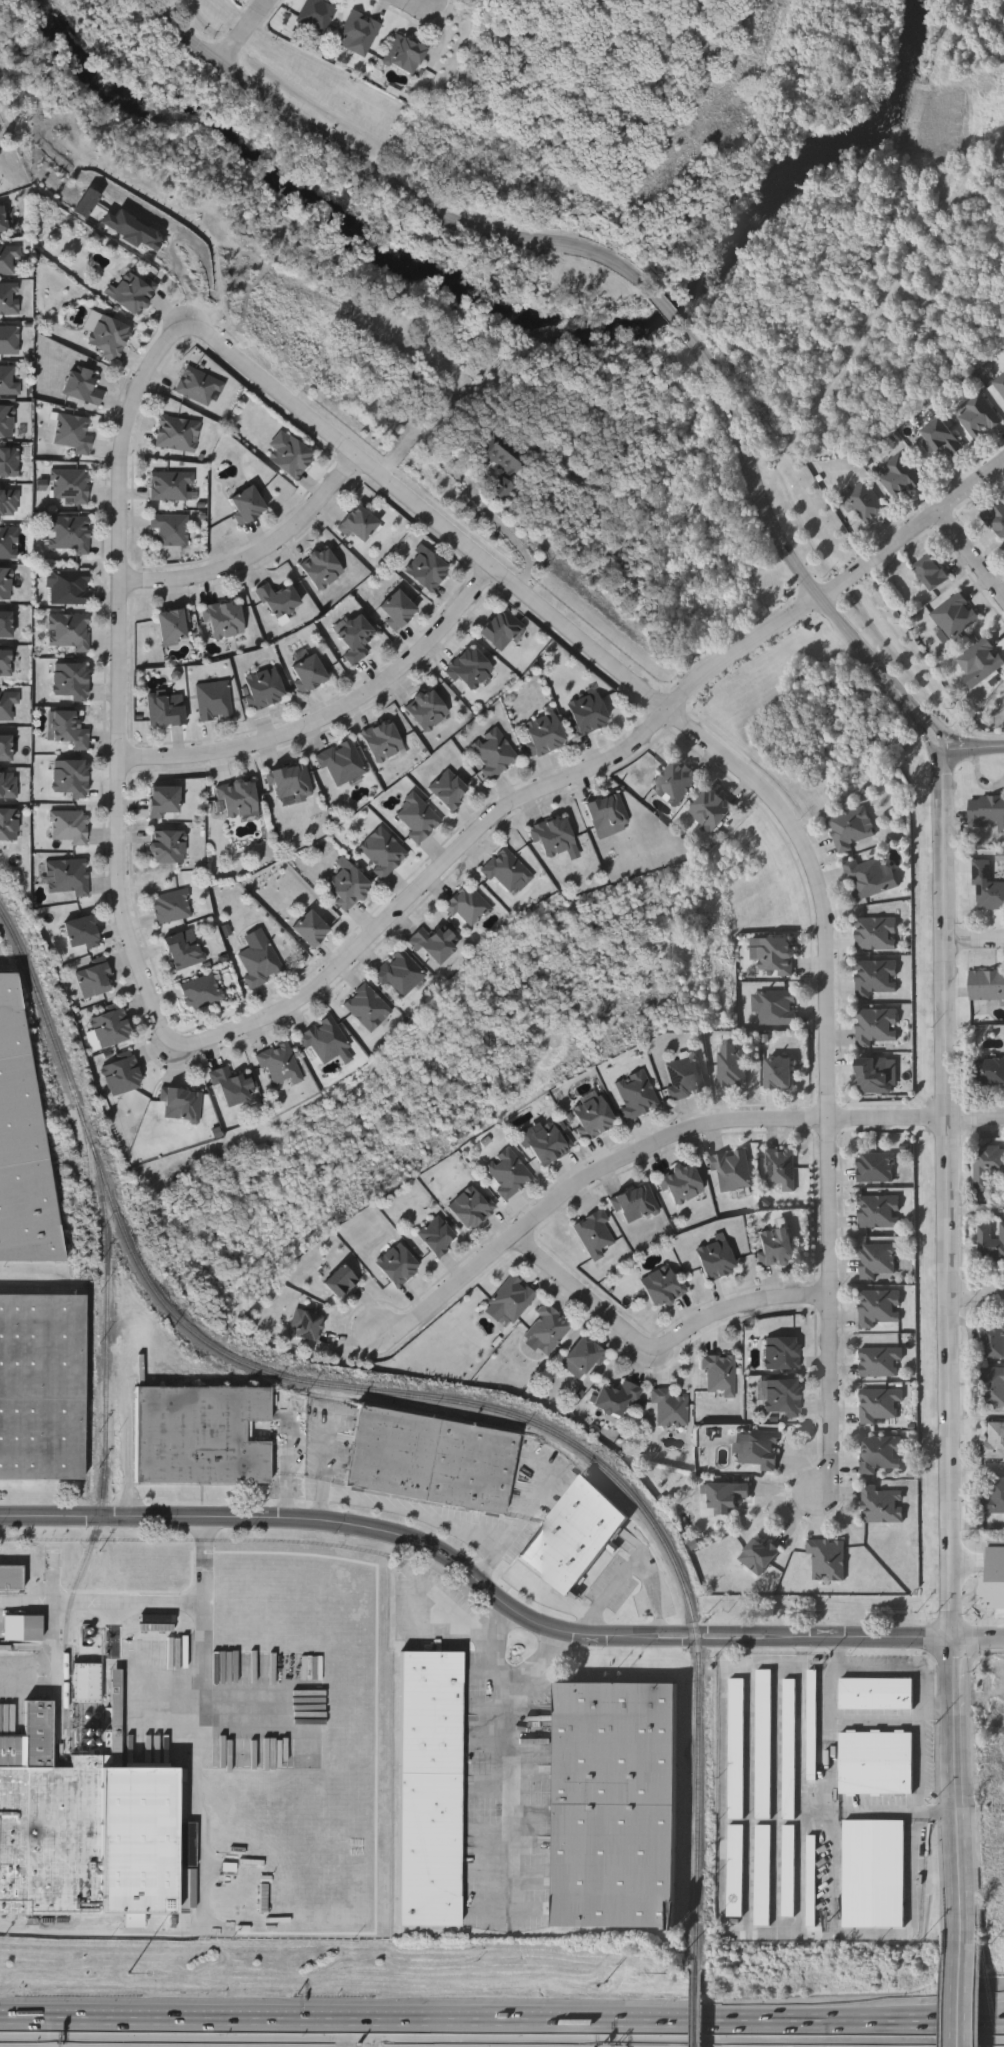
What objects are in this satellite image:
building: (315, 15)
road: (245, 33)
building: (357, 33)
building: (404, 54)
road: (382, 179)
building: (2, 220)
building: (8, 260)
building: (132, 290)
building: (9, 299)
road: (671, 316)
building: (106, 334)
building: (9, 340)
building: (8, 380)
building: (1000, 385)
building: (82, 386)
building: (198, 386)
building: (978, 417)
building: (6, 421)
building: (73, 433)
building: (176, 433)
building: (940, 438)
road: (400, 446)
building: (291, 456)
building: (501, 460)
building: (9, 462)
building: (899, 474)
building: (70, 485)
building: (170, 485)
building: (8, 502)
building: (866, 502)
building: (247, 504)
road: (481, 504)
building: (996, 519)
building: (358, 524)
building: (169, 528)
building: (67, 534)
road: (778, 536)
road: (912, 536)
building: (8, 543)
road: (256, 554)
road: (972, 556)
building: (322, 568)
building: (426, 568)
building: (932, 573)
building: (68, 587)
building: (278, 600)
building: (397, 610)
building: (954, 616)
building: (223, 620)
building: (5, 624)
building: (173, 626)
building: (500, 629)
building: (66, 631)
building: (355, 638)
building: (982, 660)
building: (4, 663)
building: (469, 670)
building: (308, 673)
road: (122, 678)
building: (69, 681)
building: (261, 689)
building: (213, 701)
building: (6, 704)
building: (164, 710)
building: (426, 710)
building: (585, 712)
road: (334, 716)
road: (930, 722)
road: (920, 728)
building: (67, 729)
building: (543, 734)
building: (381, 741)
road: (963, 742)
building: (5, 748)
road: (972, 752)
building: (492, 753)
building: (339, 763)
building: (68, 777)
building: (676, 781)
building: (290, 782)
building: (7, 784)
road: (758, 787)
building: (447, 789)
building: (236, 798)
building: (163, 800)
building: (712, 809)
building: (986, 813)
building: (608, 815)
building: (415, 817)
road: (492, 822)
building: (7, 824)
building: (67, 826)
building: (852, 829)
building: (554, 837)
building: (166, 847)
building: (381, 852)
building: (506, 870)
building: (66, 876)
building: (871, 877)
building: (347, 886)
building: (987, 888)
building: (169, 906)
building: (467, 906)
building: (309, 929)
building: (81, 933)
building: (876, 934)
road: (974, 941)
building: (433, 945)
building: (183, 949)
building: (777, 956)
building: (259, 963)
building: (400, 974)
building: (877, 978)
building: (93, 979)
building: (987, 986)
building: (200, 992)
building: (367, 1008)
building: (776, 1009)
building: (109, 1025)
building: (878, 1027)
building: (324, 1040)
building: (279, 1064)
building: (732, 1066)
building: (990, 1073)
building: (780, 1074)
building: (120, 1075)
building: (878, 1076)
building: (685, 1078)
building: (231, 1086)
building: (636, 1094)
building: (180, 1104)
building: (593, 1117)
road: (975, 1120)
building: (549, 1142)
building: (22, 1146)
road: (635, 1156)
building: (876, 1168)
building: (781, 1169)
building: (989, 1169)
building: (732, 1171)
building: (507, 1173)
building: (681, 1184)
building: (636, 1204)
building: (471, 1207)
building: (878, 1211)
building: (593, 1234)
building: (437, 1237)
building: (992, 1244)
building: (777, 1247)
railway: (90, 1258)
building: (716, 1260)
building: (877, 1261)
building: (397, 1265)
building: (340, 1282)
building: (663, 1286)
building: (509, 1299)
road: (976, 1299)
building: (880, 1308)
building: (307, 1326)
building: (546, 1329)
building: (993, 1338)
road: (949, 1345)
road: (658, 1351)
building: (783, 1354)
building: (584, 1356)
building: (880, 1362)
railway: (268, 1373)
building: (720, 1375)
building: (992, 1386)
building: (41, 1387)
building: (617, 1398)
building: (783, 1398)
building: (880, 1404)
building: (670, 1408)
road: (130, 1425)
building: (200, 1436)
building: (993, 1441)
road: (287, 1446)
building: (758, 1450)
building: (880, 1453)
railway: (106, 1455)
building: (432, 1460)
road: (325, 1462)
building: (993, 1495)
road: (287, 1498)
building: (723, 1498)
building: (881, 1505)
road: (320, 1509)
road: (527, 1510)
road: (414, 1514)
road: (335, 1525)
road: (204, 1530)
building: (574, 1536)
building: (758, 1556)
building: (827, 1559)
road: (487, 1562)
road: (629, 1568)
building: (11, 1579)
building: (990, 1583)
road: (135, 1605)
building: (33, 1627)
road: (668, 1631)
road: (740, 1631)
road: (869, 1638)
road: (670, 1640)
road: (741, 1640)
road: (979, 1640)
road: (840, 1654)
road: (803, 1662)
road: (750, 1664)
road: (51, 1667)
road: (533, 1667)
road: (898, 1671)
building: (88, 1683)
building: (876, 1694)
road: (942, 1703)
road: (844, 1722)
building: (812, 1733)
building: (764, 1745)
building: (736, 1749)
building: (790, 1750)
road: (919, 1758)
road: (490, 1759)
road: (197, 1760)
building: (876, 1764)
building: (429, 1789)
building: (616, 1805)
railway: (699, 1806)
road: (802, 1811)
road: (941, 1811)
road: (818, 1813)
road: (722, 1829)
building: (87, 1831)
building: (736, 1871)
building: (789, 1871)
building: (873, 1873)
building: (763, 1876)
building: (812, 1882)
building: (190, 1889)
road: (836, 1928)
building: (240, 1932)
road: (819, 1934)
road: (965, 1993)
railway: (699, 2010)
road: (457, 2021)
road: (960, 2021)

